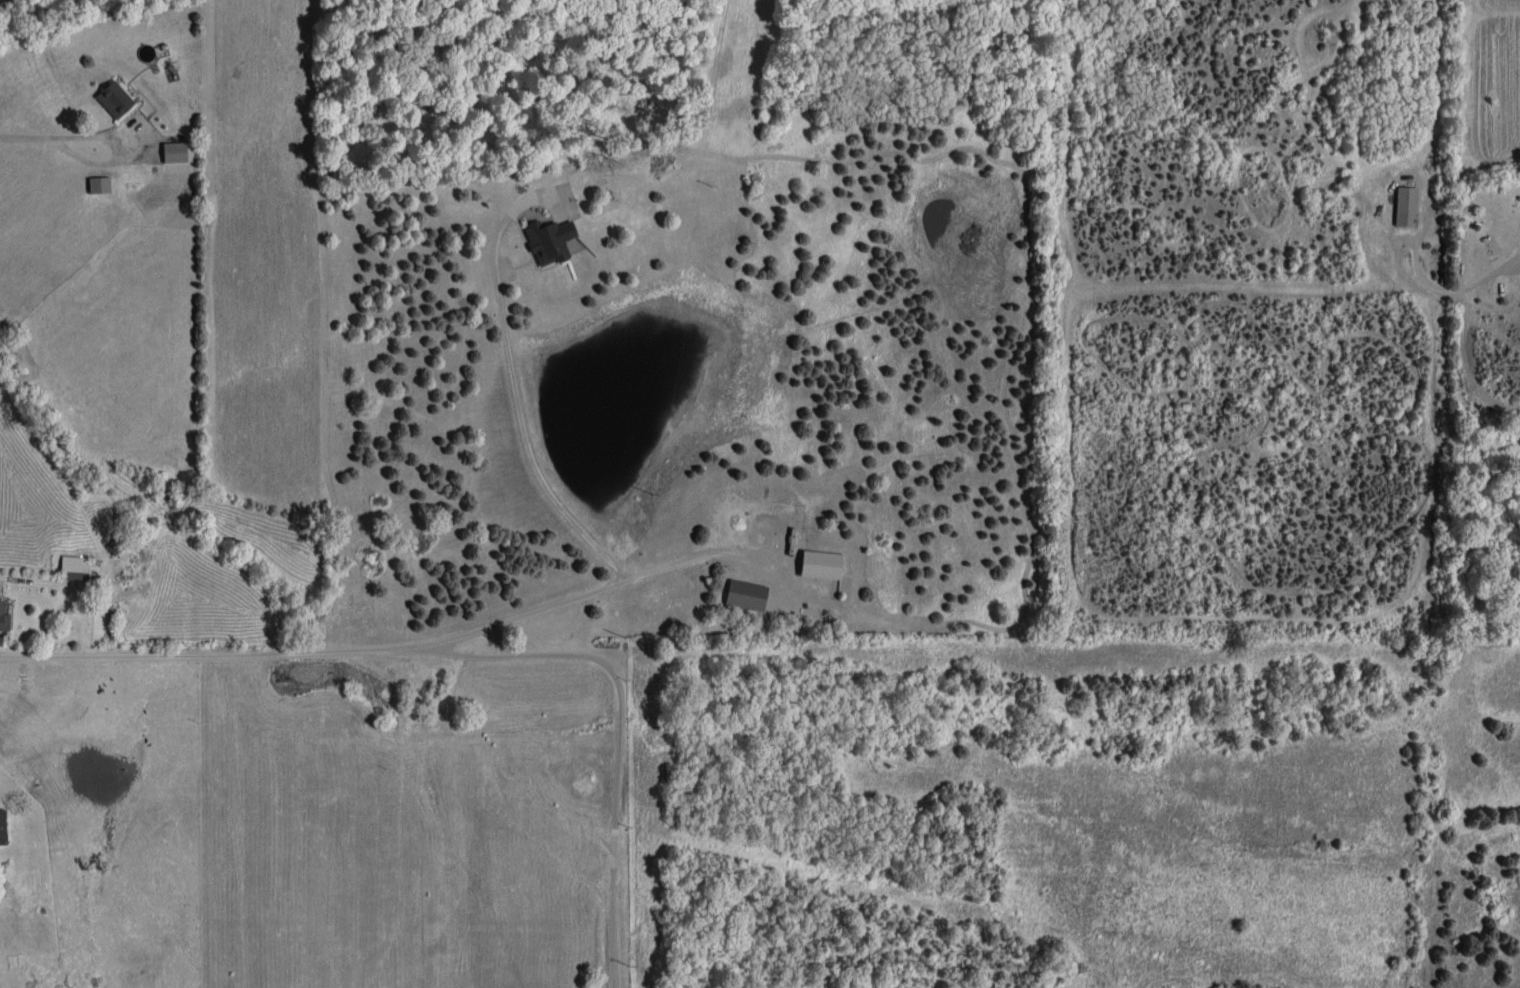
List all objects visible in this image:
building: (3, 0)
building: (115, 98)
road: (48, 135)
building: (178, 151)
building: (99, 184)
building: (1405, 205)
building: (549, 240)
road: (518, 398)
road: (705, 553)
building: (820, 563)
building: (75, 568)
road: (32, 583)
building: (745, 594)
building: (3, 621)
road: (316, 651)
road: (620, 729)
building: (2, 826)

